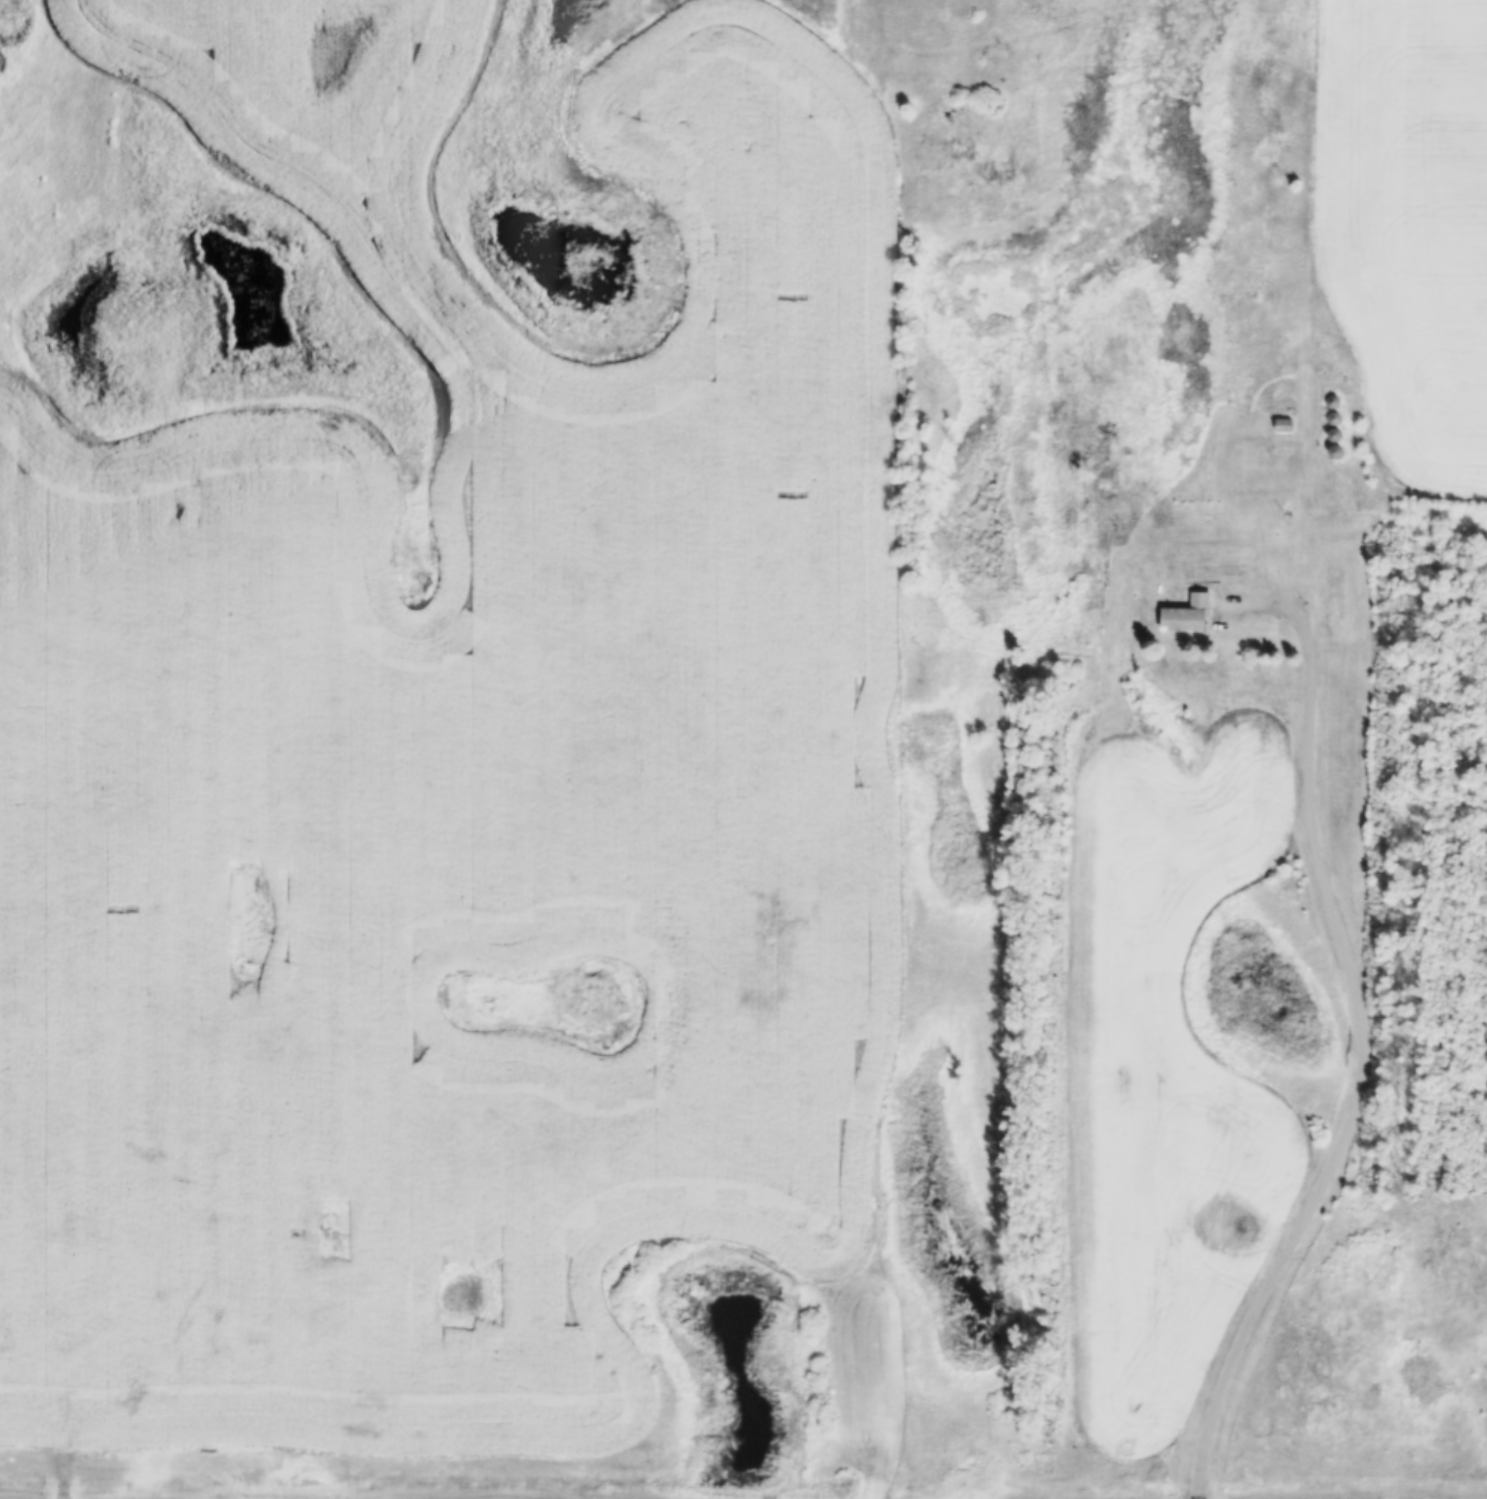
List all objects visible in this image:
road: (1316, 322)
building: (1333, 393)
silo: (1333, 393)
building: (1334, 410)
silo: (1334, 410)
building: (1283, 416)
building: (1337, 426)
silo: (1337, 426)
building: (1279, 427)
building: (1338, 443)
silo: (1338, 443)
building: (1100, 483)
building: (1189, 604)
road: (1361, 1037)

